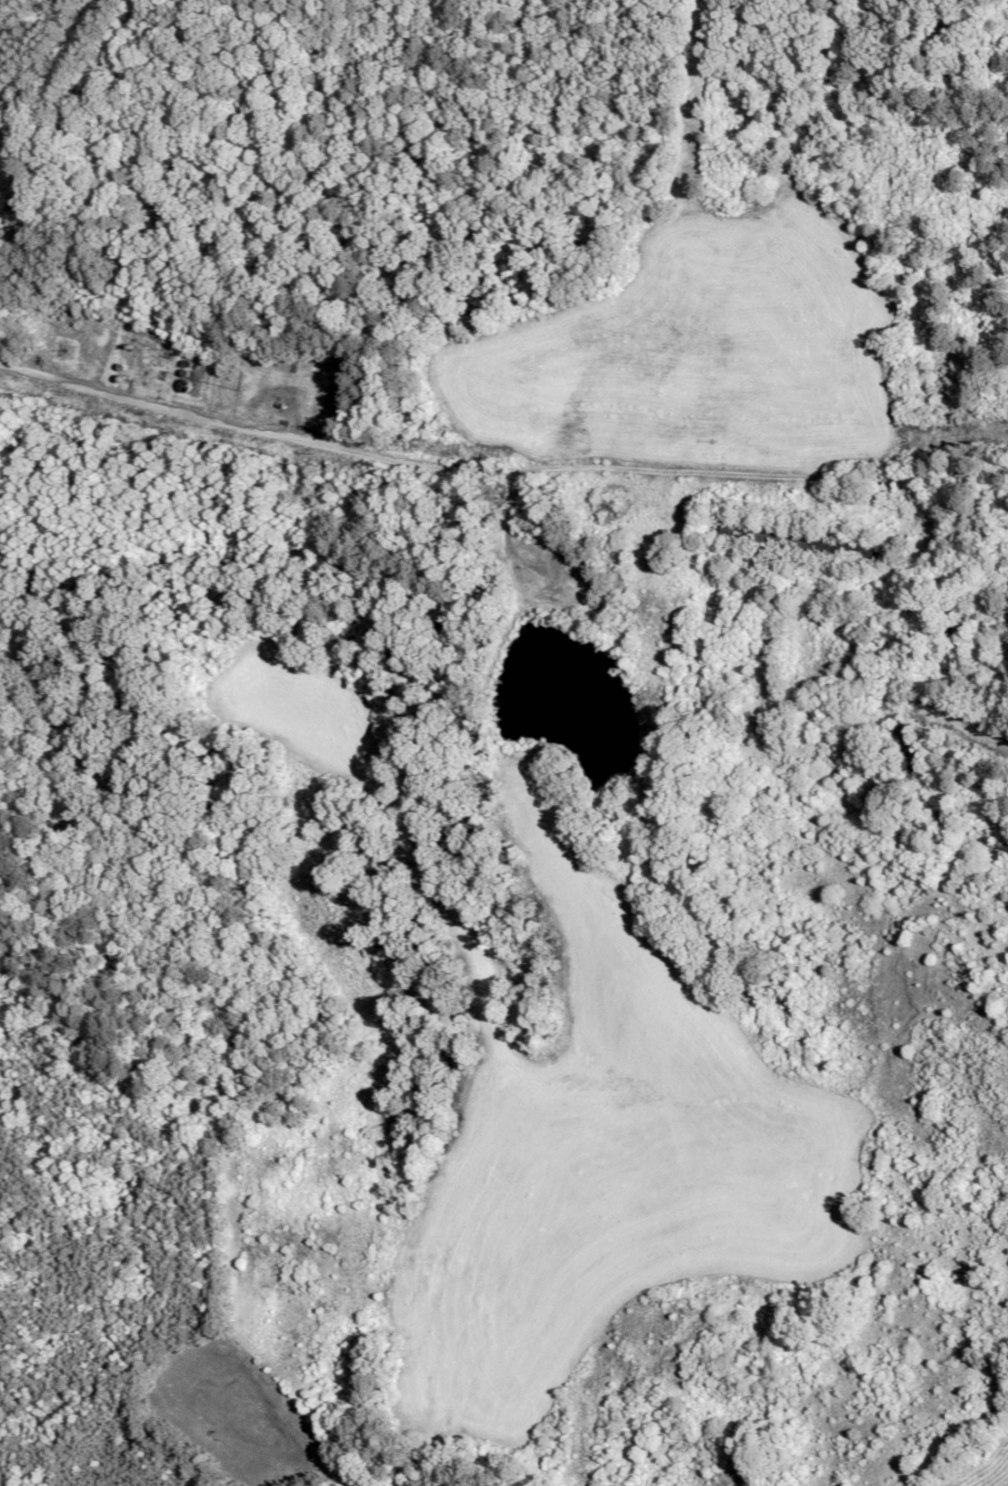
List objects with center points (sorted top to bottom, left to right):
road: (498, 472)
building: (789, 543)
building: (908, 755)
road: (953, 1444)

